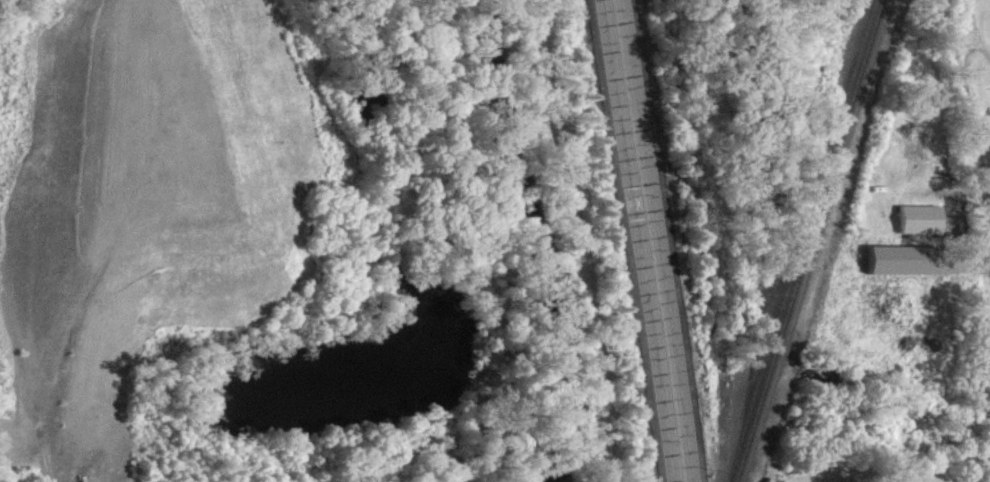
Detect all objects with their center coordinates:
park: (976, 66)
building: (918, 228)
road: (577, 240)
road: (638, 241)
railway: (810, 241)

